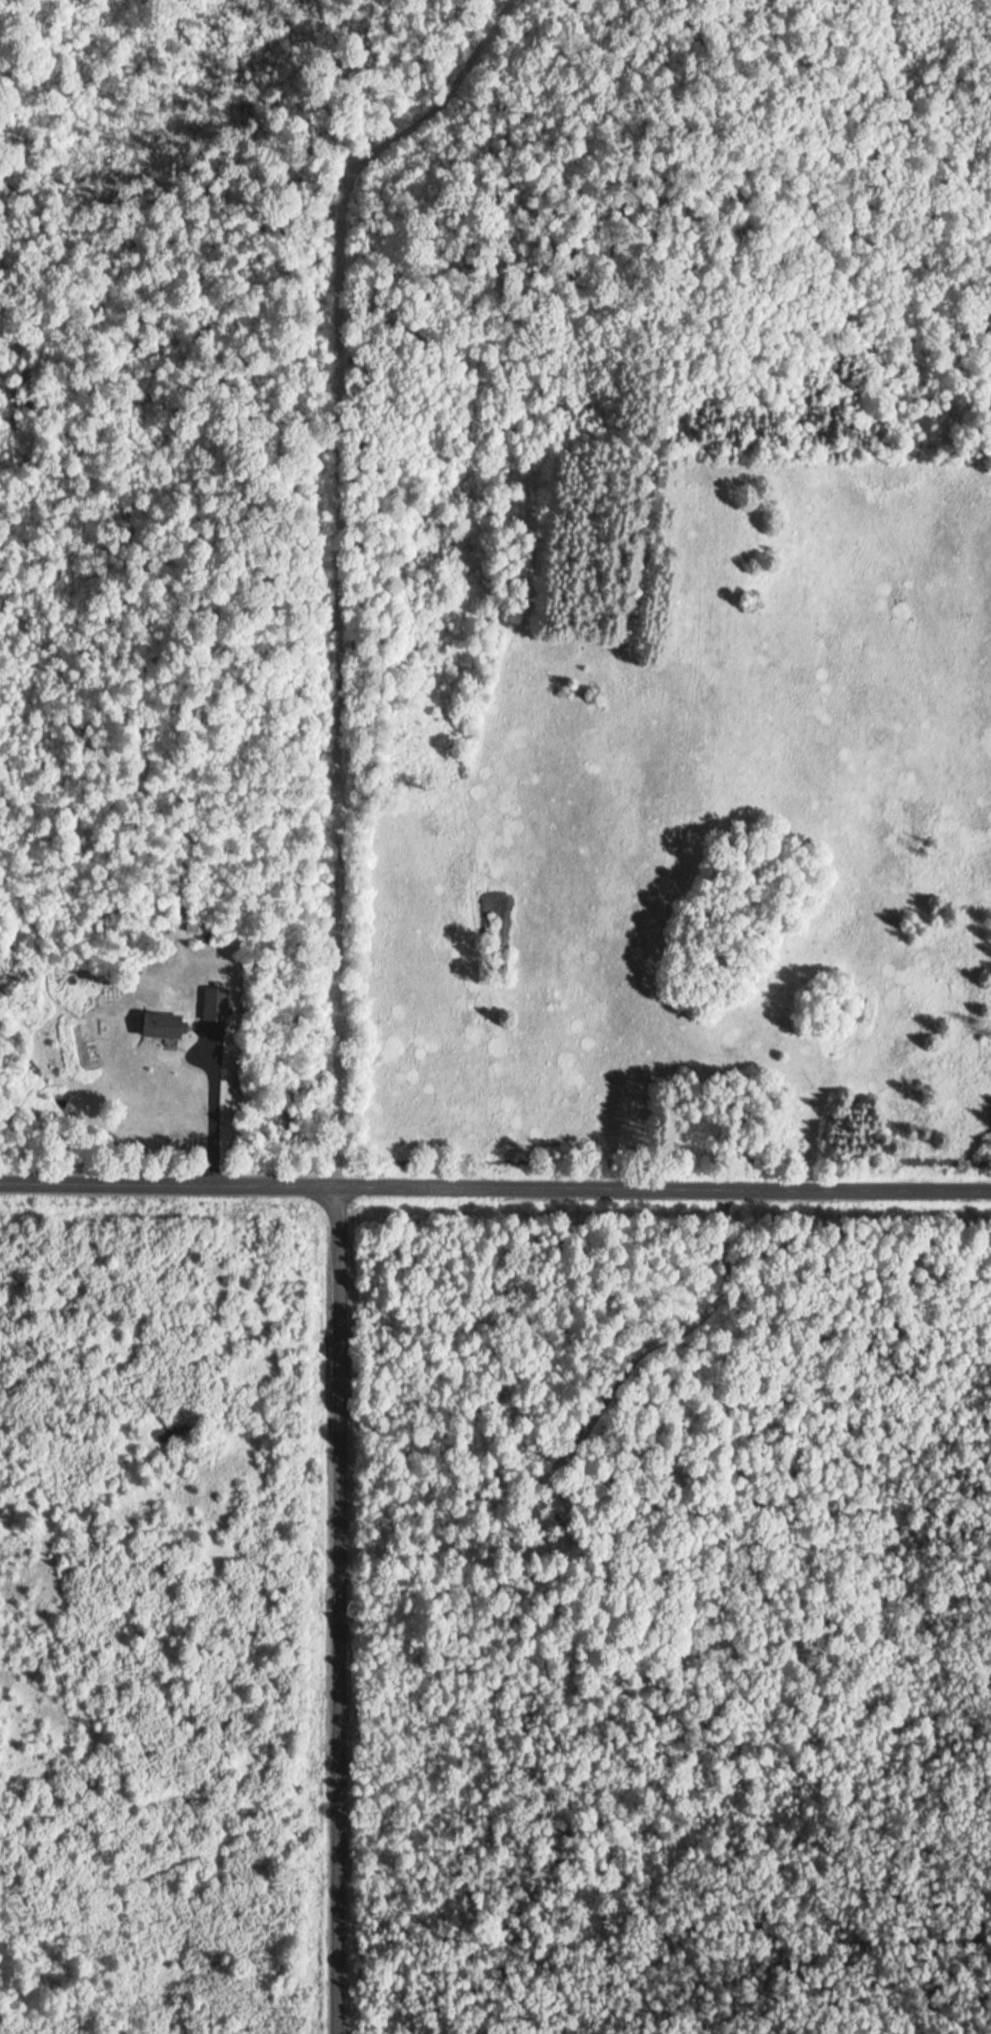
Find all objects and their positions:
building: (217, 1004)
building: (168, 1025)
road: (495, 1180)
road: (344, 1607)

